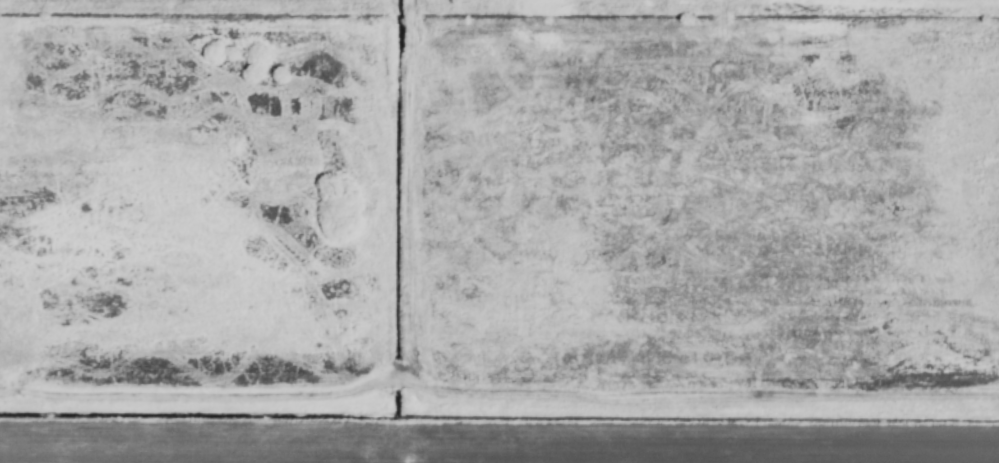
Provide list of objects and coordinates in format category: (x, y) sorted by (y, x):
crop: (499, 231)

